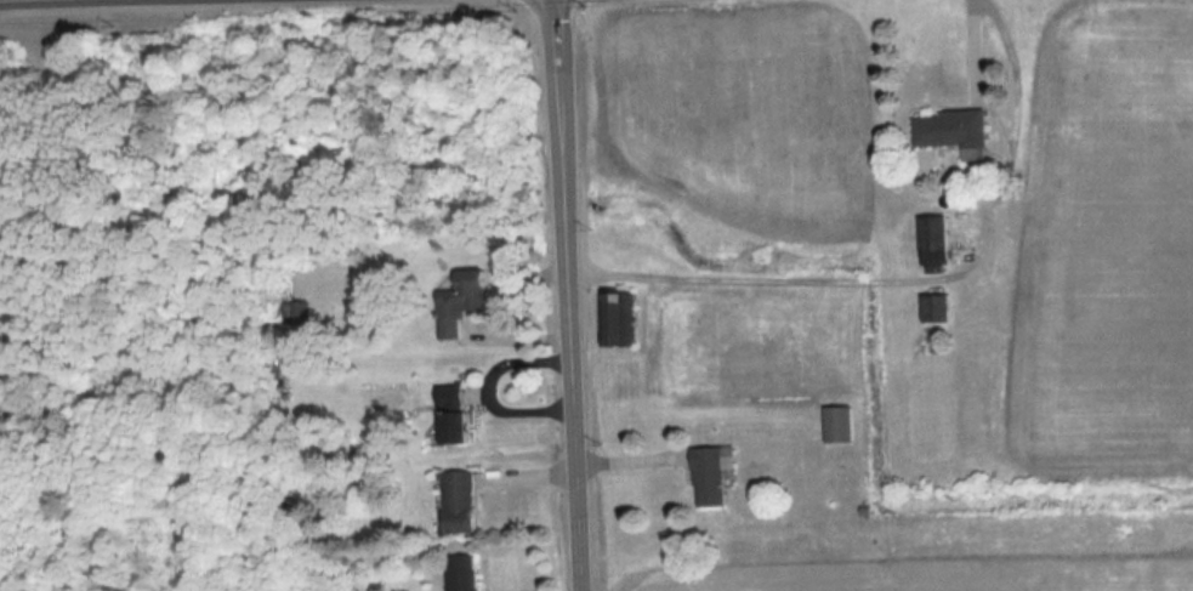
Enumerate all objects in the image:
road: (53, 1)
road: (990, 86)
crop: (738, 113)
building: (951, 131)
building: (931, 239)
crop: (1107, 248)
road: (570, 295)
building: (460, 300)
building: (933, 307)
building: (295, 311)
building: (617, 318)
building: (450, 413)
building: (836, 424)
building: (709, 473)
building: (456, 500)
building: (460, 573)
crop: (938, 575)

